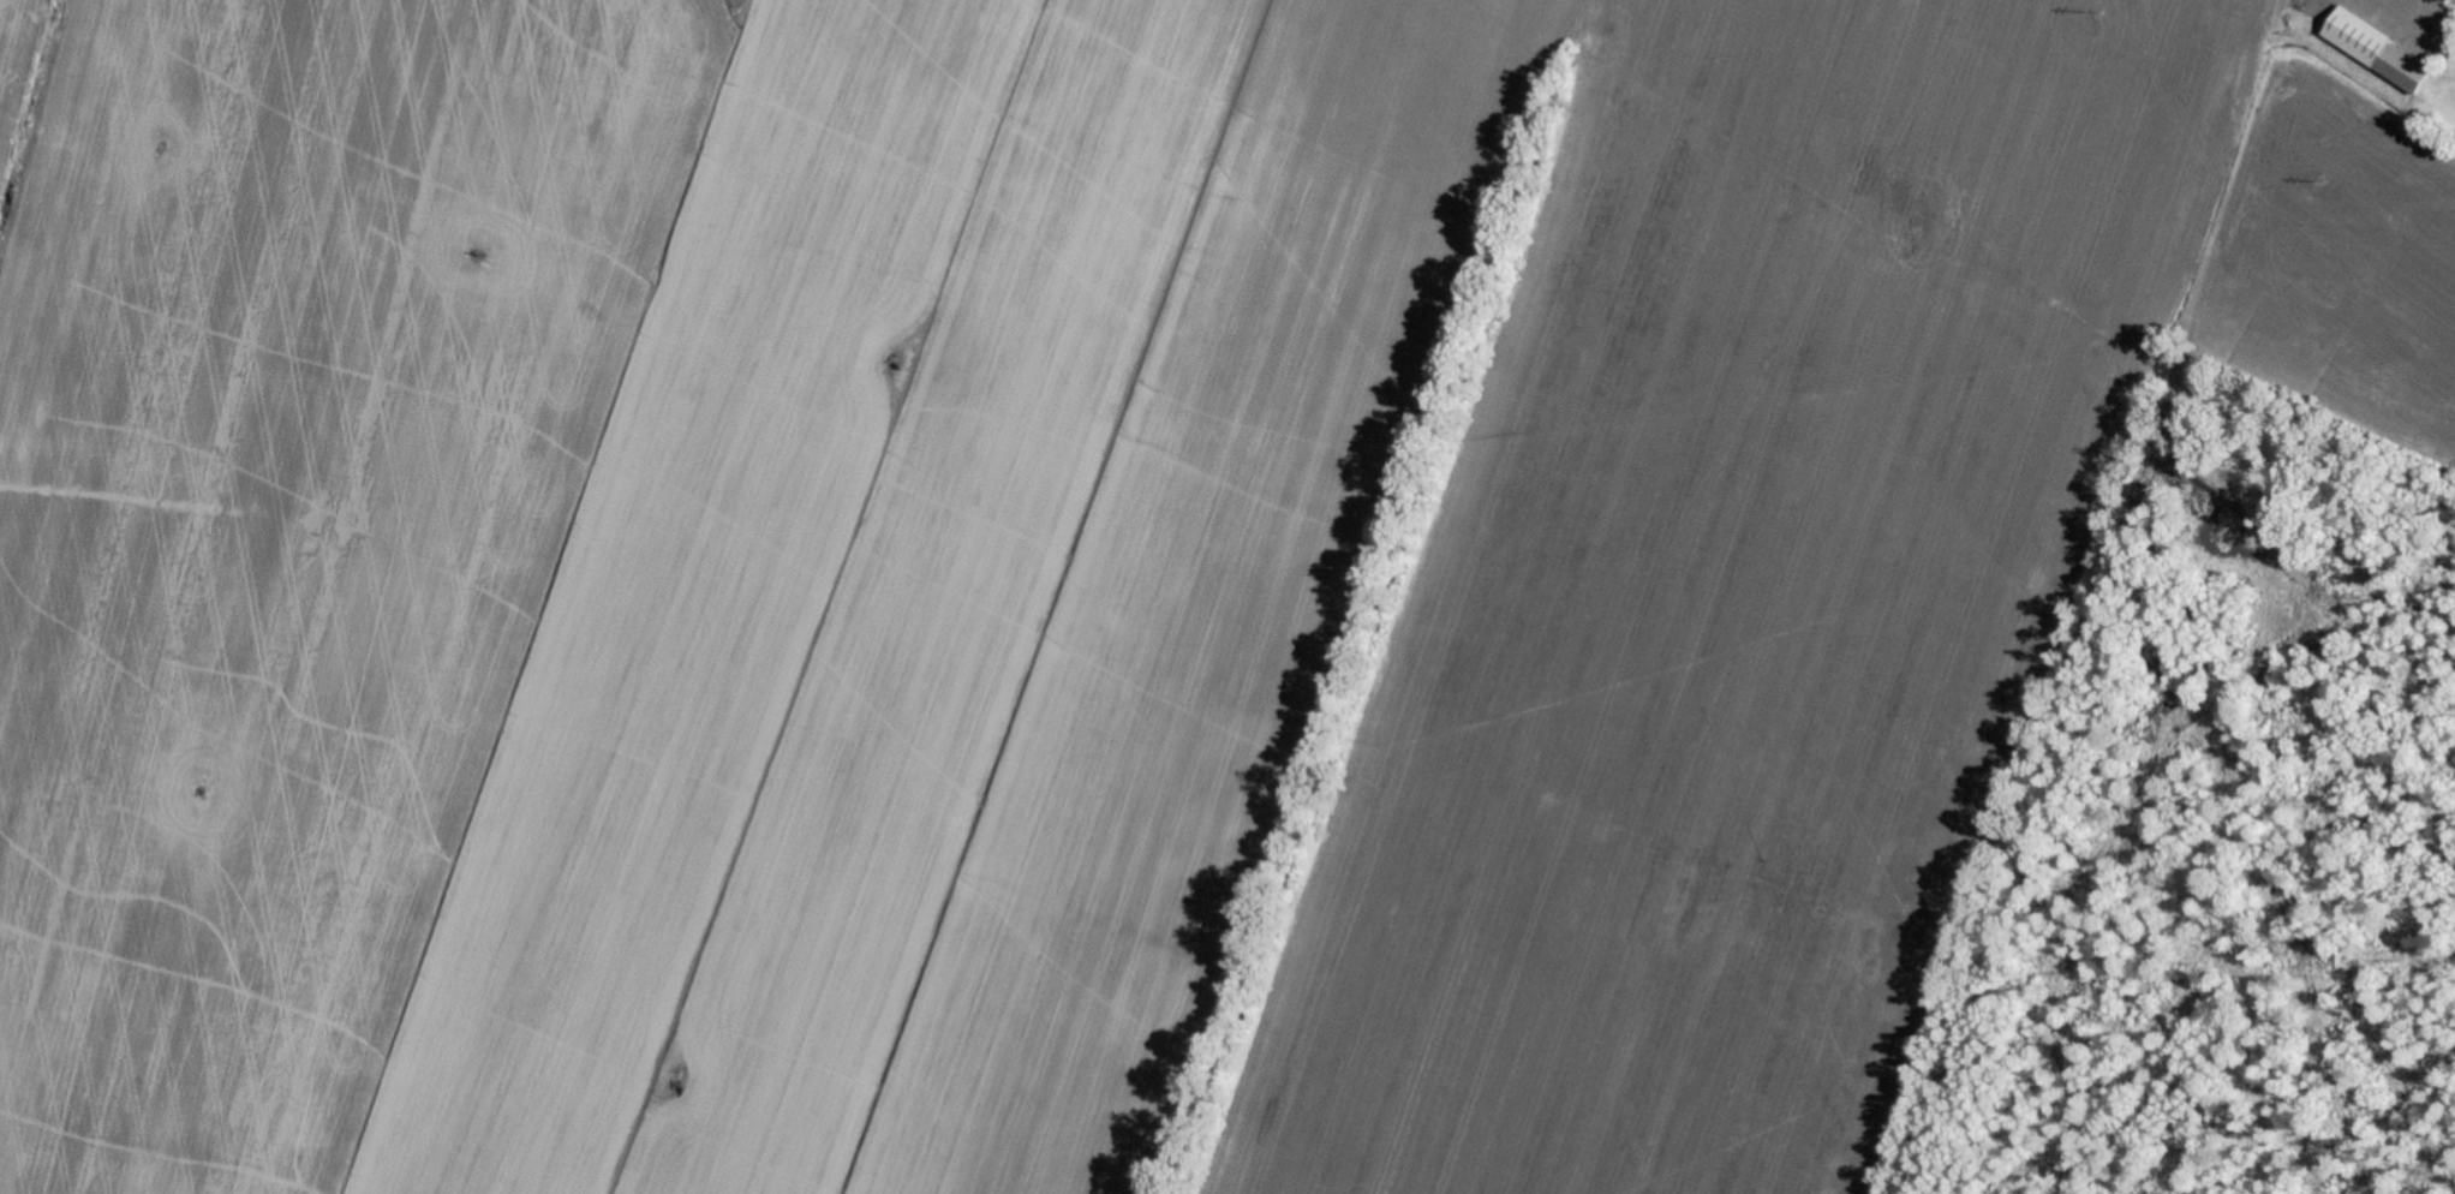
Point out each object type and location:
building: (2371, 47)

